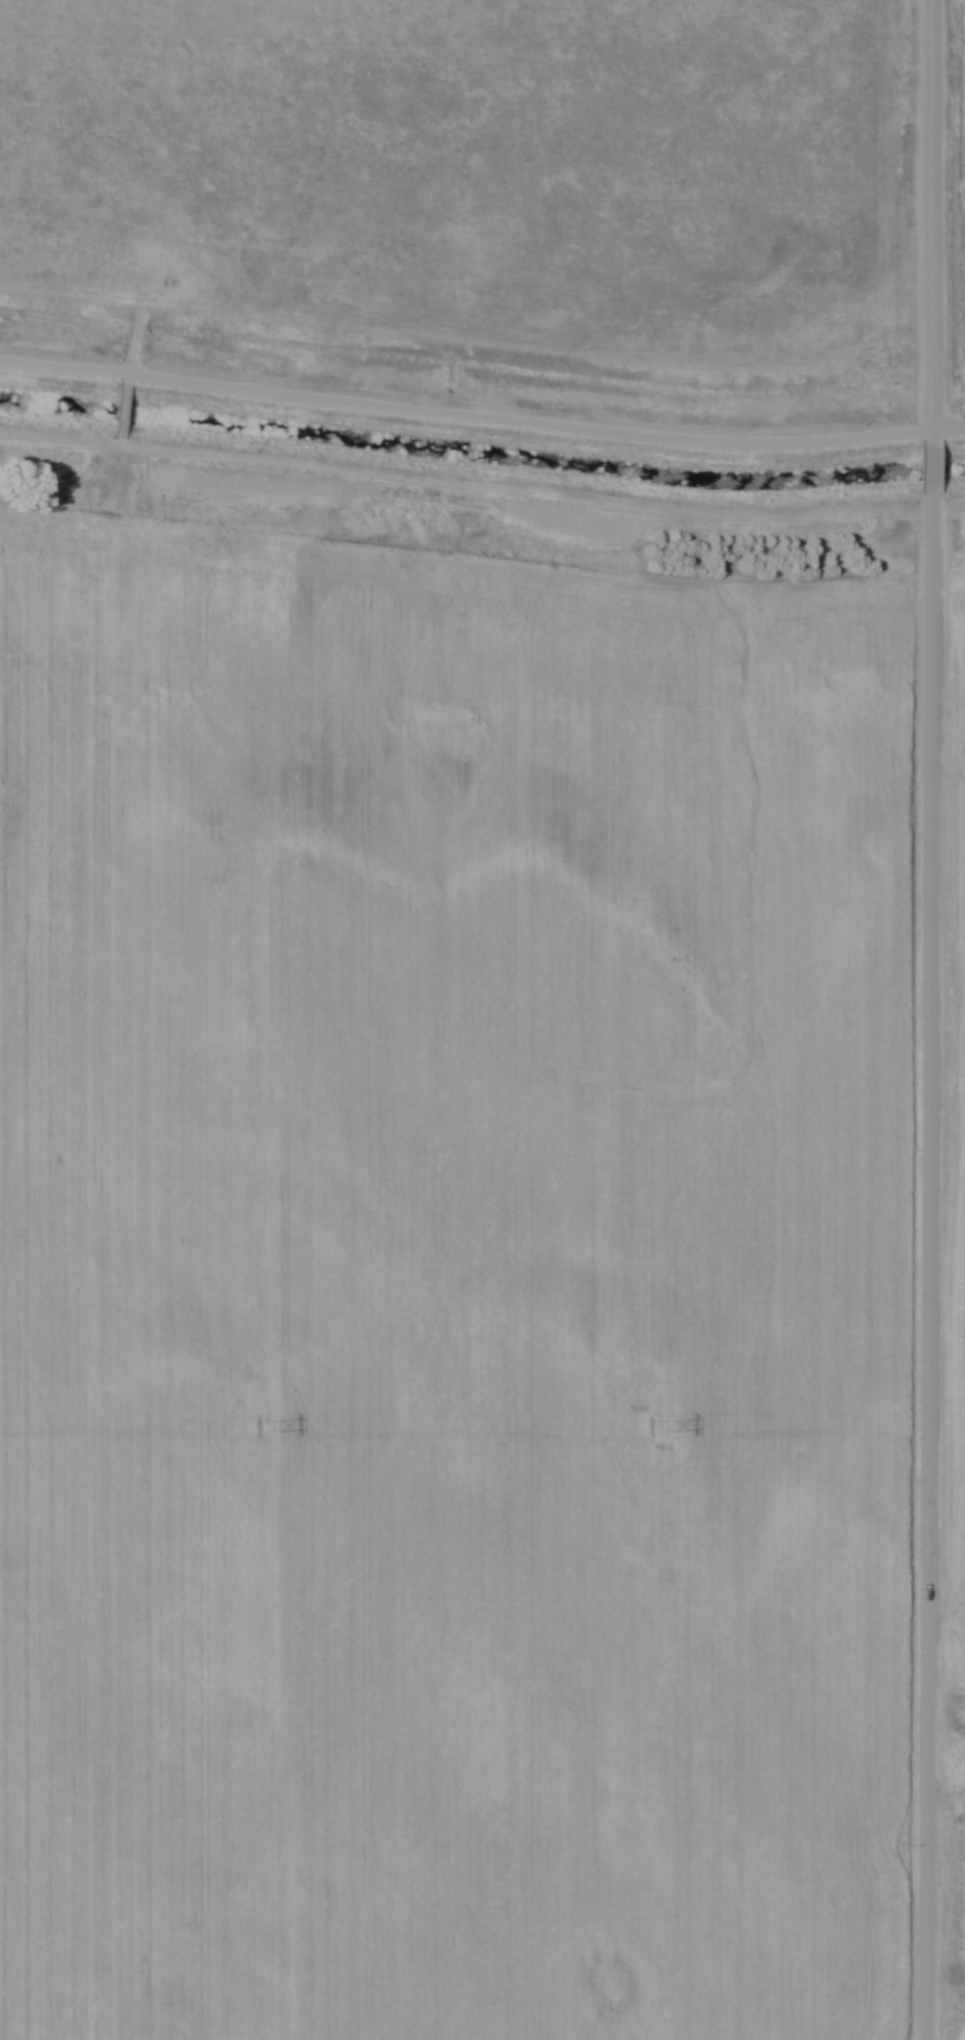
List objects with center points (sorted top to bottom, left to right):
road: (931, 219)
road: (482, 421)
road: (931, 466)
road: (930, 1267)
power tower: (266, 1428)
power tower: (647, 1429)

